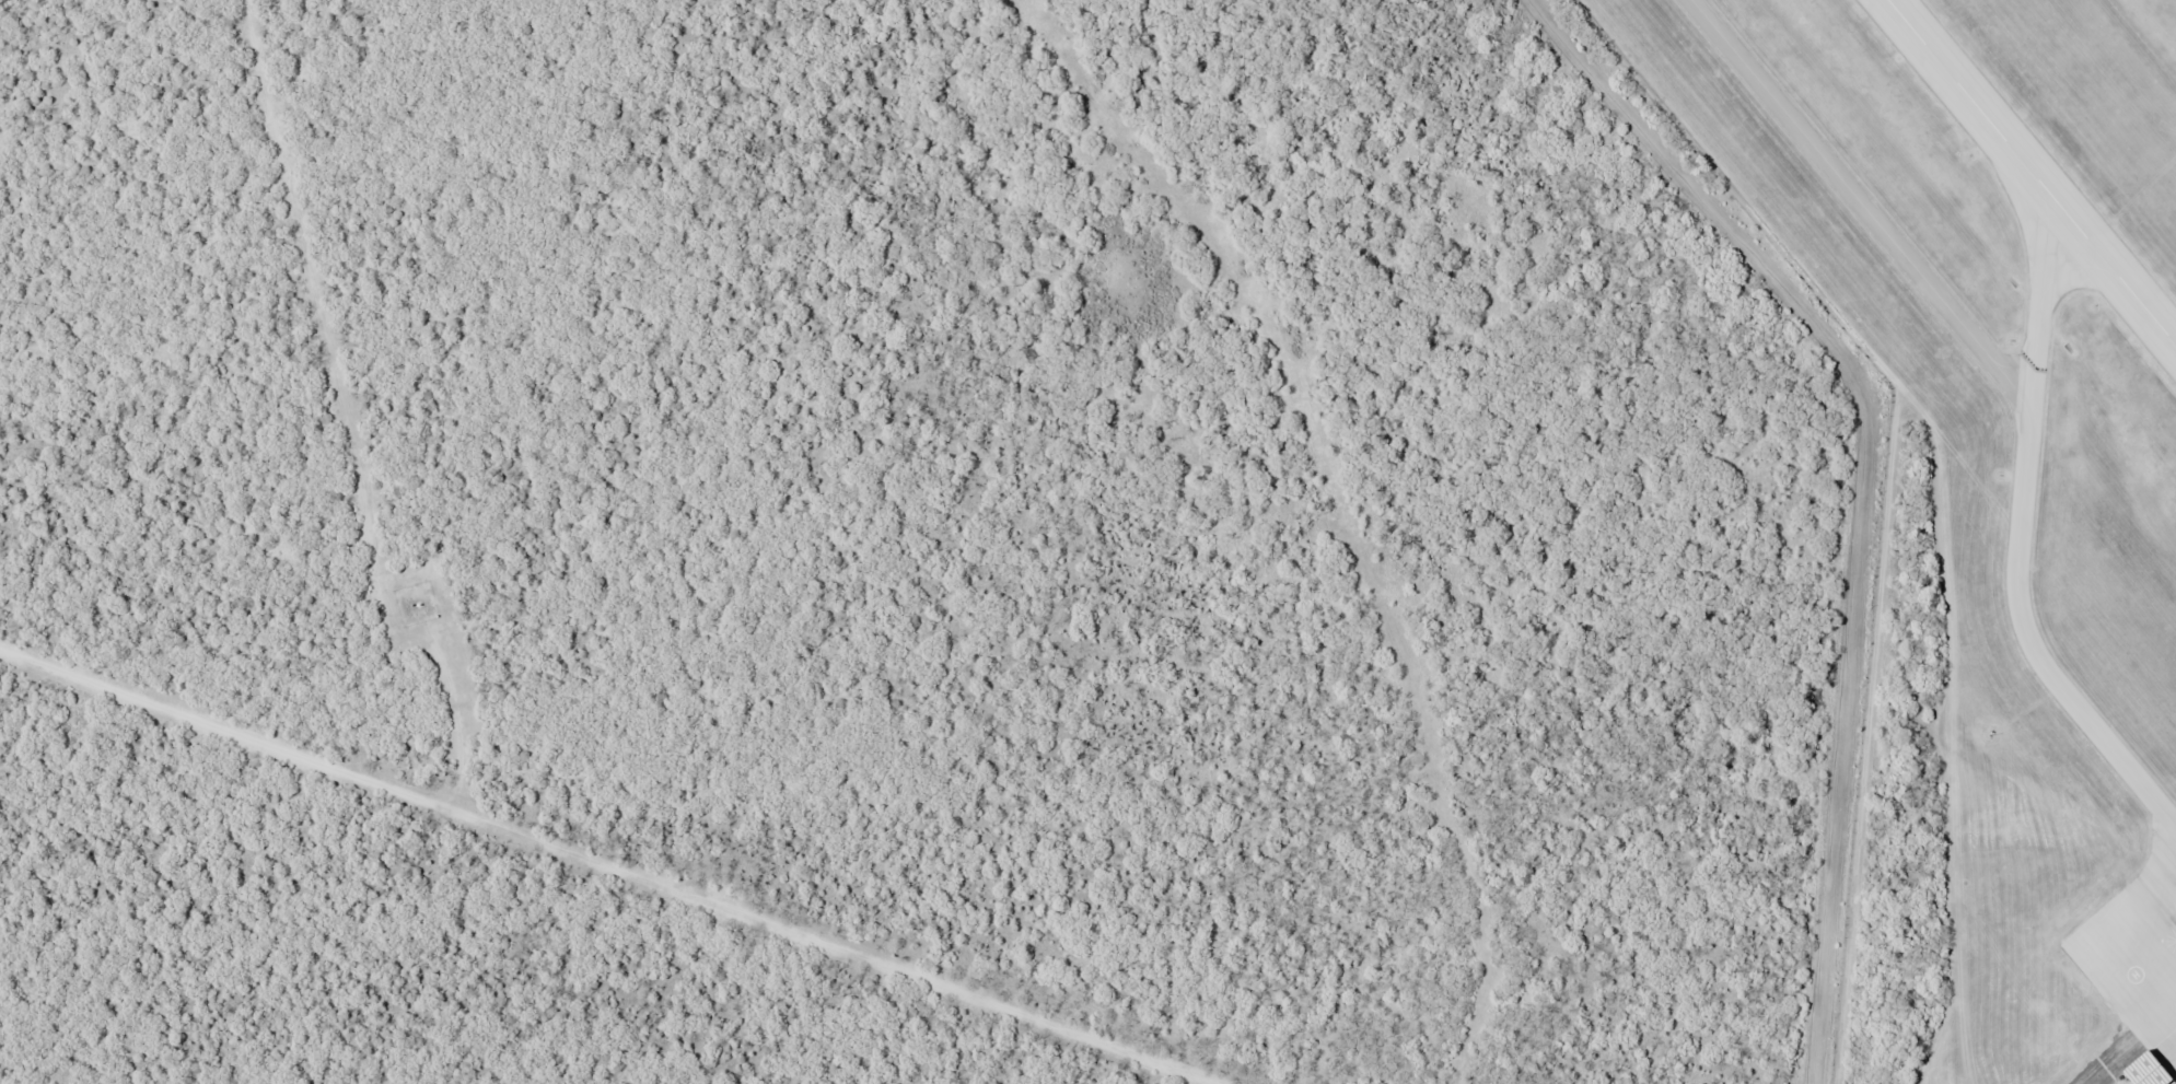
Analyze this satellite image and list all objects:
airport runway: (2035, 167)
airport runway: (2033, 171)
airport taxiway: (2044, 294)
airport taxiway: (2016, 378)
airport apron: (2138, 946)
building: (2140, 1071)
building: (2171, 1081)

